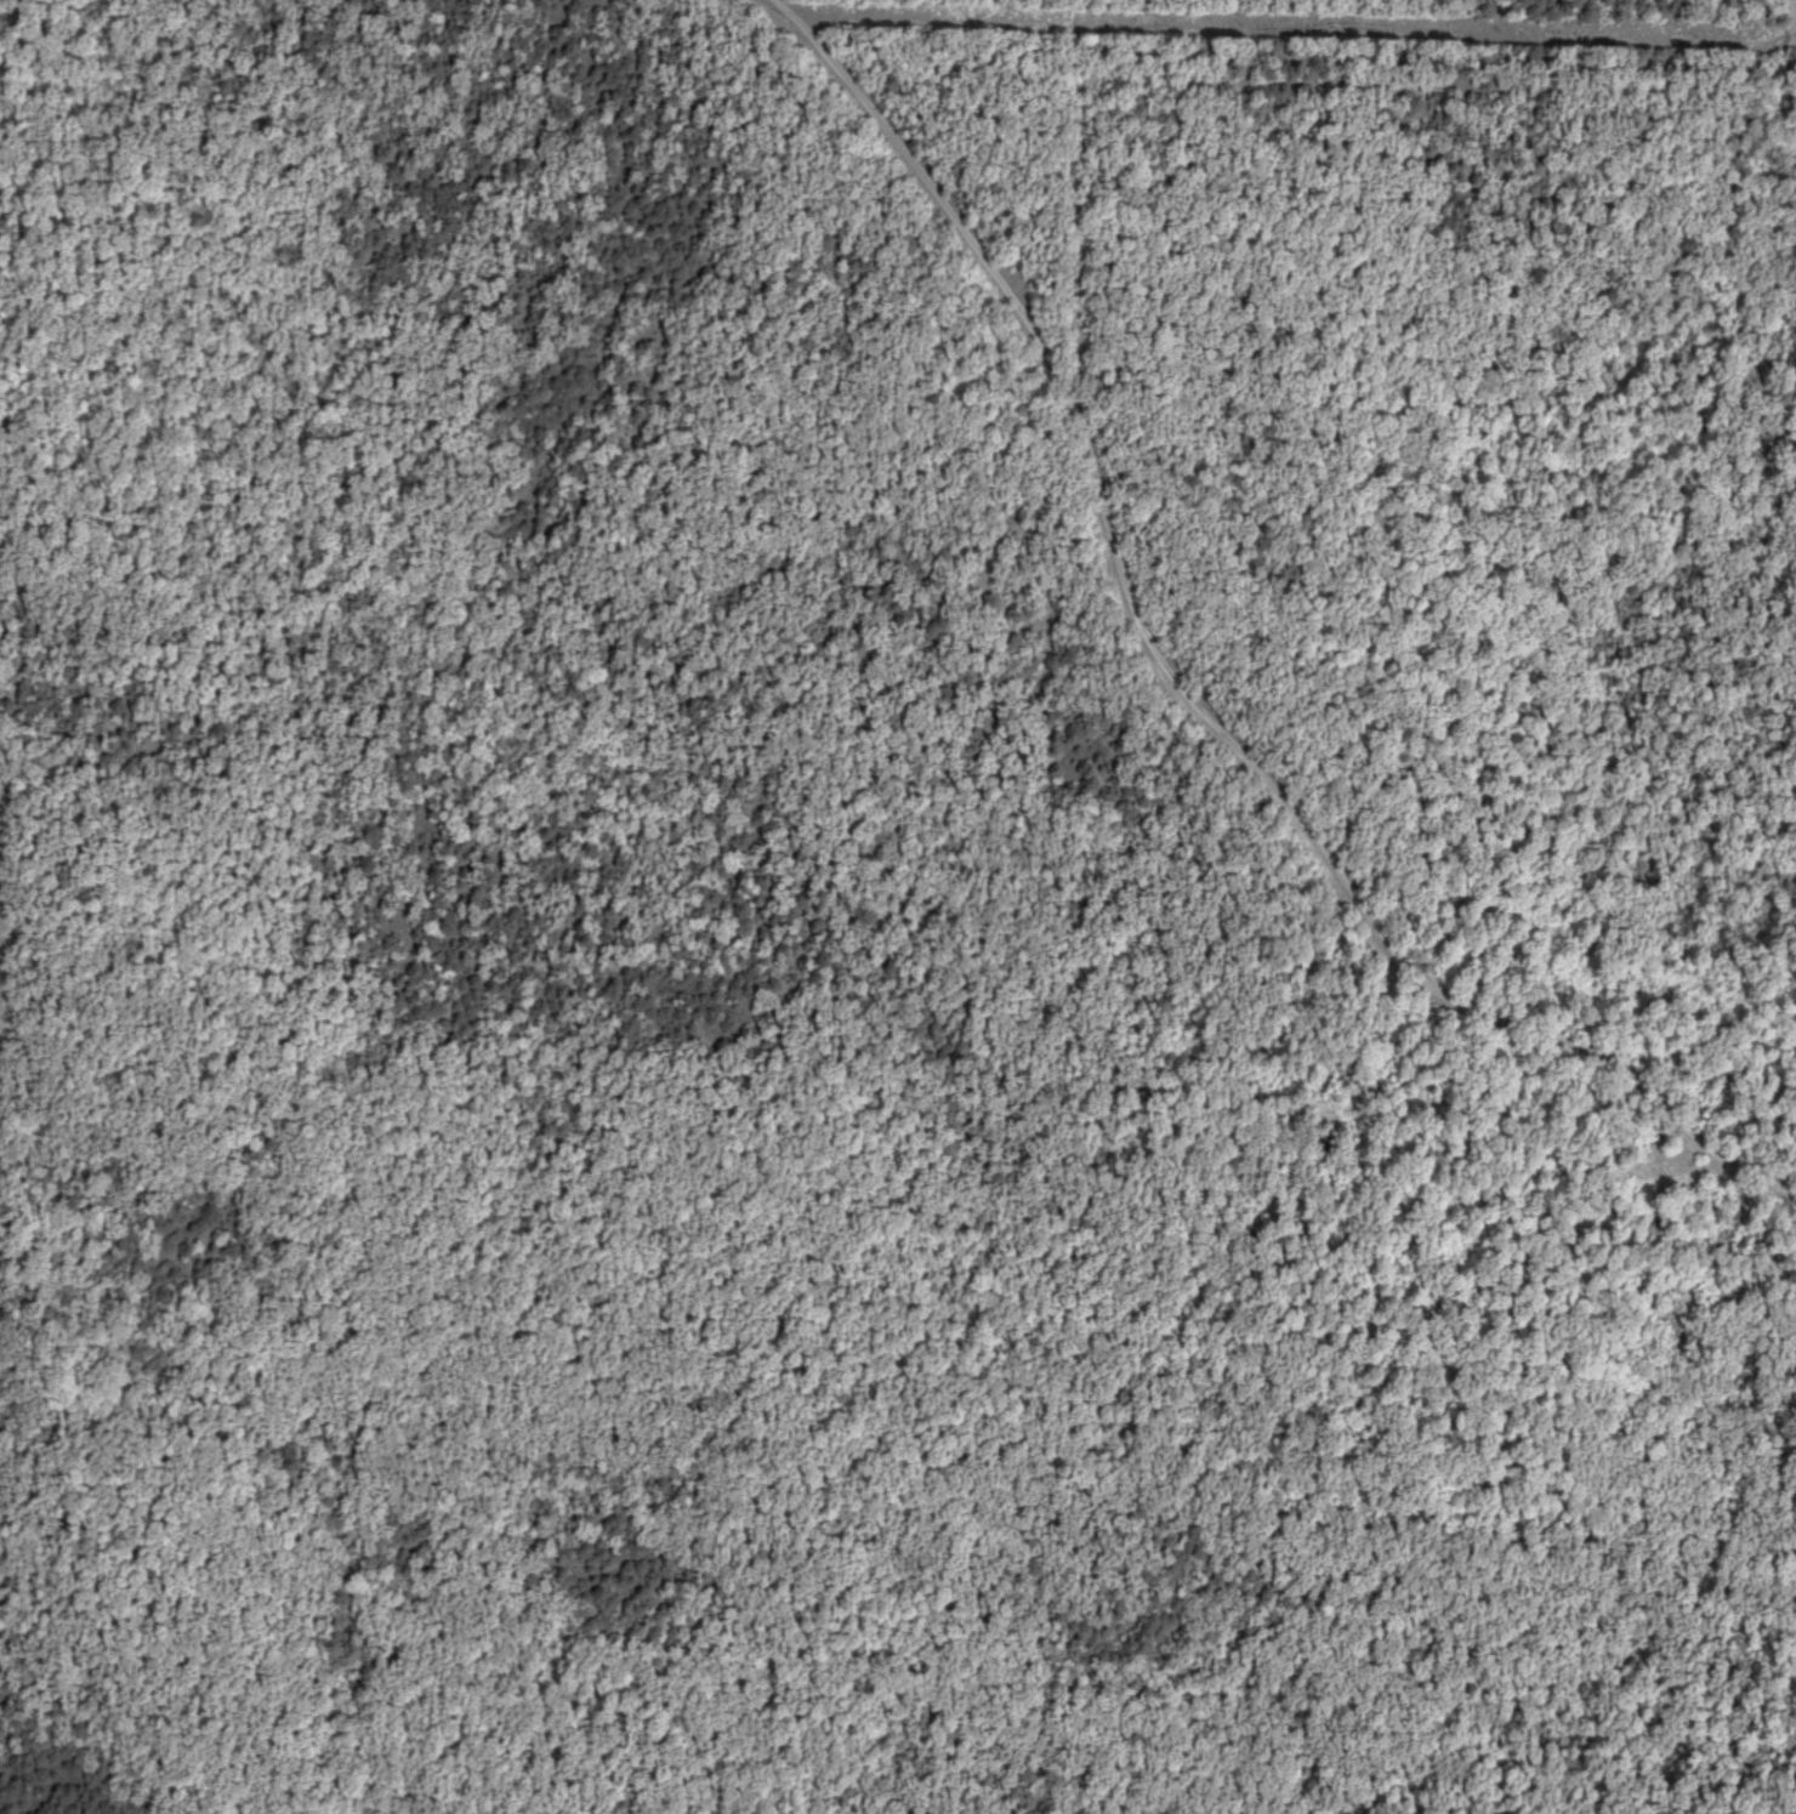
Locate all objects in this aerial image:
road: (1192, 673)

